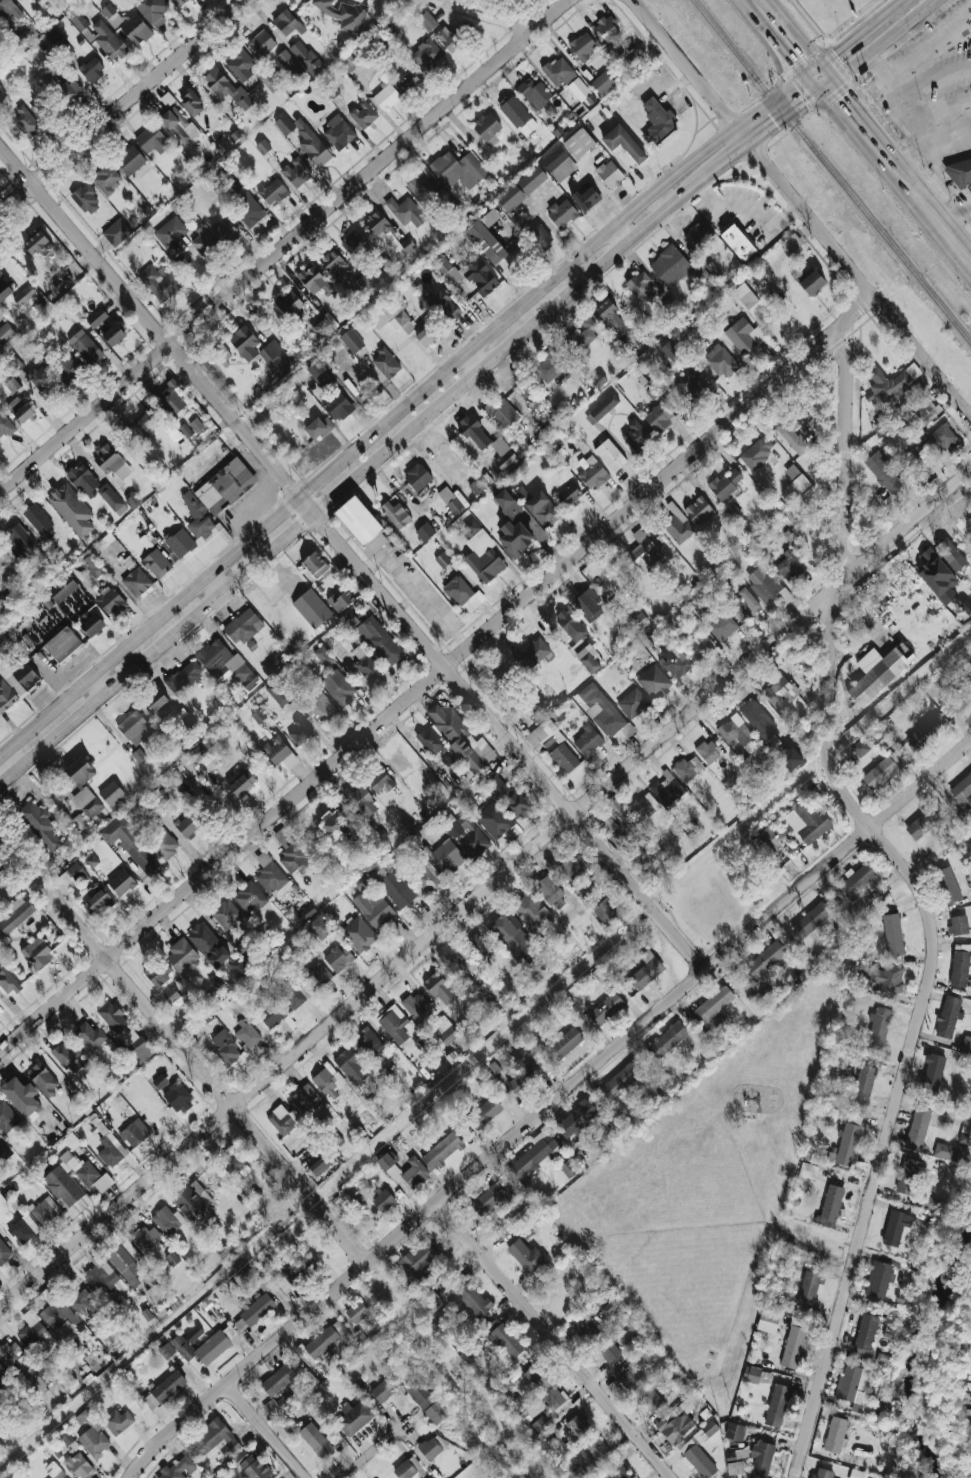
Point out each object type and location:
building: (19, 0)
building: (179, 2)
road: (895, 2)
building: (7, 10)
building: (153, 10)
road: (501, 11)
building: (344, 14)
building: (111, 16)
building: (427, 21)
building: (78, 22)
building: (287, 23)
building: (135, 30)
building: (607, 30)
road: (794, 31)
road: (852, 36)
building: (447, 39)
road: (773, 39)
building: (57, 40)
building: (108, 41)
road: (880, 43)
building: (261, 44)
building: (582, 47)
road: (926, 47)
building: (426, 55)
building: (305, 58)
building: (287, 62)
building: (348, 63)
building: (240, 65)
traffic signals: (813, 67)
building: (91, 71)
road: (691, 71)
building: (558, 72)
road: (820, 76)
building: (267, 81)
building: (409, 81)
building: (601, 83)
building: (217, 84)
traffic signals: (828, 86)
building: (68, 90)
building: (331, 92)
building: (2, 93)
building: (534, 93)
building: (386, 97)
building: (245, 103)
building: (192, 104)
road: (122, 107)
building: (363, 114)
road: (789, 115)
building: (518, 116)
road: (911, 117)
building: (657, 121)
building: (25, 122)
building: (178, 125)
building: (284, 125)
road: (860, 127)
building: (487, 129)
building: (338, 133)
building: (152, 140)
building: (579, 143)
building: (623, 144)
building: (312, 145)
building: (263, 147)
road: (912, 157)
building: (129, 160)
road: (723, 163)
building: (558, 164)
building: (457, 170)
building: (296, 172)
railway: (831, 172)
building: (962, 172)
building: (609, 174)
building: (106, 178)
building: (233, 179)
building: (531, 180)
building: (272, 192)
building: (585, 197)
building: (510, 198)
building: (86, 200)
road: (912, 202)
road: (933, 206)
building: (247, 209)
road: (751, 211)
building: (405, 212)
building: (562, 214)
building: (489, 218)
building: (378, 224)
building: (225, 231)
building: (116, 232)
building: (170, 232)
building: (697, 235)
building: (540, 238)
building: (485, 242)
building: (737, 242)
building: (203, 243)
building: (353, 243)
building: (791, 243)
building: (36, 244)
road: (287, 245)
road: (952, 259)
building: (334, 265)
building: (670, 266)
building: (467, 273)
building: (314, 280)
building: (807, 280)
road: (859, 280)
building: (61, 281)
building: (160, 282)
building: (640, 288)
building: (4, 289)
building: (24, 295)
building: (745, 296)
building: (320, 302)
building: (288, 303)
building: (723, 303)
building: (445, 307)
building: (389, 314)
building: (608, 314)
building: (96, 318)
building: (317, 323)
building: (5, 333)
building: (428, 334)
building: (113, 335)
building: (744, 336)
building: (582, 337)
building: (352, 341)
building: (244, 343)
building: (84, 347)
building: (670, 351)
building: (276, 358)
road: (473, 361)
building: (720, 361)
building: (14, 364)
building: (385, 364)
building: (548, 368)
building: (67, 369)
building: (315, 369)
building: (43, 382)
building: (598, 382)
building: (892, 382)
building: (12, 385)
building: (692, 386)
building: (170, 397)
building: (533, 399)
building: (338, 405)
road: (403, 407)
building: (604, 407)
building: (19, 409)
building: (500, 413)
building: (924, 414)
building: (659, 417)
building: (6, 425)
building: (143, 425)
building: (319, 428)
building: (794, 429)
building: (474, 432)
building: (636, 436)
building: (941, 441)
building: (757, 453)
building: (502, 454)
building: (610, 455)
building: (916, 458)
building: (111, 462)
building: (591, 472)
building: (883, 472)
building: (417, 477)
building: (796, 478)
building: (83, 480)
road: (349, 483)
building: (726, 483)
building: (225, 487)
building: (521, 493)
building: (571, 494)
building: (111, 499)
building: (449, 500)
building: (506, 503)
building: (71, 510)
building: (542, 510)
building: (698, 510)
building: (394, 514)
building: (197, 517)
building: (37, 519)
building: (361, 525)
building: (677, 525)
building: (472, 526)
building: (425, 532)
building: (514, 539)
building: (180, 543)
building: (644, 552)
building: (950, 554)
building: (483, 557)
road: (351, 558)
building: (442, 560)
building: (128, 562)
building: (156, 564)
building: (92, 566)
building: (314, 567)
building: (789, 567)
building: (936, 576)
building: (763, 581)
building: (136, 582)
road: (212, 587)
building: (62, 589)
road: (417, 590)
building: (461, 595)
building: (110, 601)
building: (341, 601)
building: (587, 605)
building: (743, 605)
building: (311, 608)
building: (93, 620)
building: (349, 620)
building: (640, 621)
building: (242, 627)
building: (722, 627)
building: (1, 638)
building: (577, 640)
building: (379, 641)
building: (62, 645)
building: (698, 645)
building: (533, 655)
building: (226, 662)
building: (676, 663)
building: (271, 665)
building: (366, 665)
building: (878, 672)
road: (439, 673)
building: (18, 676)
building: (184, 677)
building: (497, 679)
building: (653, 682)
road: (97, 685)
building: (339, 688)
building: (277, 694)
building: (6, 697)
building: (784, 697)
building: (960, 698)
building: (632, 703)
building: (158, 705)
building: (321, 709)
building: (602, 713)
building: (258, 715)
building: (759, 723)
building: (134, 728)
power tower: (854, 731)
building: (299, 732)
building: (736, 732)
building: (924, 734)
building: (543, 736)
building: (461, 738)
building: (431, 741)
building: (587, 741)
building: (859, 749)
building: (279, 752)
building: (708, 752)
building: (197, 753)
building: (564, 758)
building: (790, 759)
building: (687, 769)
building: (884, 770)
building: (80, 772)
building: (381, 782)
building: (241, 784)
building: (962, 788)
building: (667, 790)
building: (111, 793)
building: (747, 794)
building: (508, 796)
building: (87, 802)
building: (361, 802)
building: (614, 807)
building: (643, 807)
building: (494, 820)
building: (78, 821)
building: (806, 823)
building: (923, 823)
building: (38, 825)
building: (188, 825)
building: (336, 827)
building: (621, 827)
building: (672, 828)
building: (282, 838)
building: (467, 838)
building: (772, 838)
building: (161, 842)
building: (131, 845)
building: (447, 857)
building: (293, 859)
building: (91, 861)
building: (572, 867)
building: (71, 876)
building: (272, 876)
building: (427, 877)
building: (0, 880)
building: (856, 882)
building: (121, 883)
building: (947, 885)
road: (485, 888)
building: (93, 889)
building: (396, 890)
power tower: (669, 891)
building: (550, 893)
road: (922, 896)
building: (249, 897)
building: (96, 902)
building: (374, 909)
building: (531, 911)
building: (604, 911)
building: (306, 913)
building: (16, 915)
building: (226, 915)
building: (811, 921)
building: (958, 925)
building: (320, 927)
building: (358, 935)
building: (512, 935)
building: (892, 935)
building: (208, 945)
building: (480, 945)
building: (36, 953)
building: (182, 956)
building: (338, 959)
building: (765, 959)
building: (960, 964)
building: (238, 967)
building: (457, 969)
building: (645, 971)
building: (158, 972)
building: (317, 976)
building: (892, 982)
building: (8, 983)
building: (435, 984)
building: (170, 995)
building: (292, 997)
building: (417, 1004)
building: (713, 1004)
building: (605, 1009)
building: (266, 1010)
building: (948, 1017)
building: (393, 1024)
building: (877, 1028)
building: (445, 1031)
building: (125, 1032)
building: (247, 1035)
building: (90, 1036)
building: (667, 1040)
building: (565, 1043)
building: (369, 1044)
building: (966, 1045)
road: (182, 1046)
building: (226, 1048)
building: (67, 1056)
building: (840, 1059)
power tower: (472, 1061)
building: (350, 1067)
building: (493, 1068)
building: (932, 1072)
building: (43, 1078)
building: (159, 1081)
building: (522, 1081)
building: (332, 1084)
building: (863, 1086)
building: (20, 1096)
building: (177, 1097)
building: (304, 1099)
road: (547, 1103)
building: (484, 1114)
building: (7, 1119)
building: (575, 1119)
building: (283, 1120)
building: (917, 1129)
building: (135, 1133)
building: (0, 1136)
building: (72, 1143)
building: (846, 1146)
building: (442, 1151)
building: (943, 1151)
building: (5, 1152)
building: (111, 1152)
building: (536, 1154)
building: (960, 1154)
building: (234, 1162)
building: (320, 1166)
building: (568, 1168)
building: (416, 1169)
building: (907, 1176)
building: (74, 1184)
park: (712, 1191)
building: (487, 1199)
building: (192, 1200)
building: (383, 1201)
building: (929, 1203)
building: (831, 1206)
building: (45, 1211)
building: (167, 1220)
building: (895, 1227)
building: (23, 1229)
power tower: (267, 1236)
building: (145, 1238)
building: (4, 1253)
building: (419, 1256)
building: (526, 1256)
building: (172, 1258)
building: (126, 1260)
building: (297, 1273)
building: (103, 1277)
building: (878, 1279)
building: (264, 1283)
building: (154, 1288)
building: (809, 1289)
building: (471, 1296)
building: (80, 1300)
building: (606, 1304)
building: (356, 1312)
building: (253, 1313)
building: (58, 1314)
building: (767, 1322)
building: (587, 1329)
building: (230, 1333)
building: (193, 1334)
building: (37, 1335)
building: (865, 1336)
building: (504, 1340)
building: (323, 1341)
road: (549, 1341)
building: (793, 1345)
building: (203, 1347)
building: (166, 1351)
building: (608, 1351)
building: (648, 1352)
building: (15, 1355)
building: (2, 1372)
building: (756, 1375)
building: (533, 1377)
building: (628, 1377)
building: (278, 1380)
building: (847, 1383)
building: (164, 1390)
building: (381, 1392)
power tower: (83, 1394)
building: (554, 1398)
building: (282, 1401)
building: (651, 1401)
building: (426, 1403)
building: (777, 1405)
building: (529, 1411)
building: (353, 1418)
building: (678, 1419)
building: (117, 1421)
building: (540, 1425)
building: (577, 1426)
road: (263, 1431)
building: (734, 1432)
building: (92, 1435)
building: (835, 1435)
building: (216, 1440)
building: (315, 1440)
building: (432, 1447)
building: (596, 1448)
road: (373, 1452)
building: (700, 1452)
building: (760, 1459)
building: (79, 1466)
building: (254, 1468)
building: (407, 1468)
building: (735, 1468)
building: (178, 1469)
building: (53, 1470)
building: (619, 1472)
building: (822, 1473)
building: (856, 1474)
building: (9, 1476)

